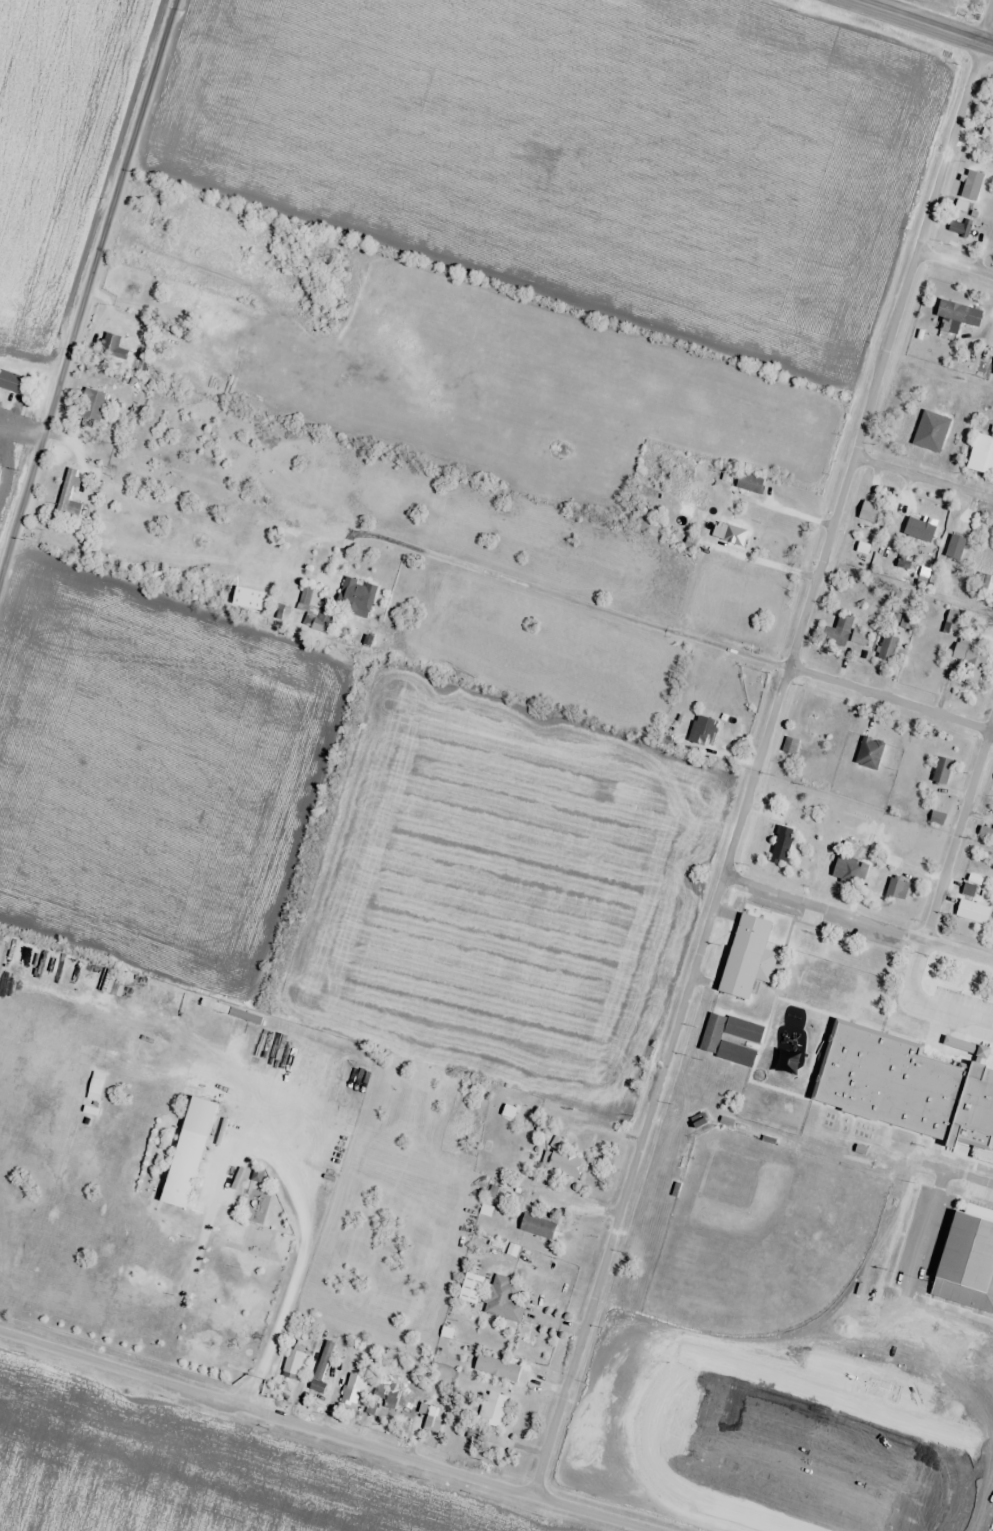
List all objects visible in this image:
road: (919, 23)
road: (988, 27)
building: (970, 185)
building: (957, 227)
building: (990, 237)
road: (956, 261)
road: (88, 297)
building: (954, 316)
building: (110, 347)
road: (886, 357)
building: (992, 376)
building: (8, 381)
building: (90, 405)
building: (925, 431)
building: (982, 455)
building: (749, 484)
road: (923, 487)
building: (867, 511)
building: (731, 536)
building: (885, 545)
building: (917, 577)
road: (520, 586)
building: (985, 586)
building: (241, 587)
building: (303, 596)
building: (355, 597)
building: (837, 631)
building: (860, 637)
building: (886, 649)
building: (966, 654)
building: (813, 722)
building: (700, 731)
building: (868, 752)
building: (940, 771)
building: (985, 834)
building: (780, 845)
building: (846, 870)
building: (897, 889)
building: (971, 912)
road: (857, 926)
road: (929, 942)
building: (807, 943)
building: (745, 957)
building: (792, 1016)
building: (935, 1017)
building: (970, 1026)
building: (120, 1042)
building: (778, 1069)
building: (932, 1070)
road: (659, 1083)
building: (93, 1086)
building: (815, 1088)
building: (773, 1097)
building: (910, 1102)
building: (974, 1108)
building: (509, 1112)
building: (189, 1151)
road: (930, 1165)
building: (561, 1166)
building: (534, 1226)
park: (763, 1233)
road: (177, 1255)
building: (965, 1260)
building: (505, 1300)
building: (291, 1360)
building: (320, 1366)
building: (495, 1369)
building: (351, 1389)
building: (392, 1396)
building: (492, 1409)
road: (324, 1433)
crop: (195, 1473)

